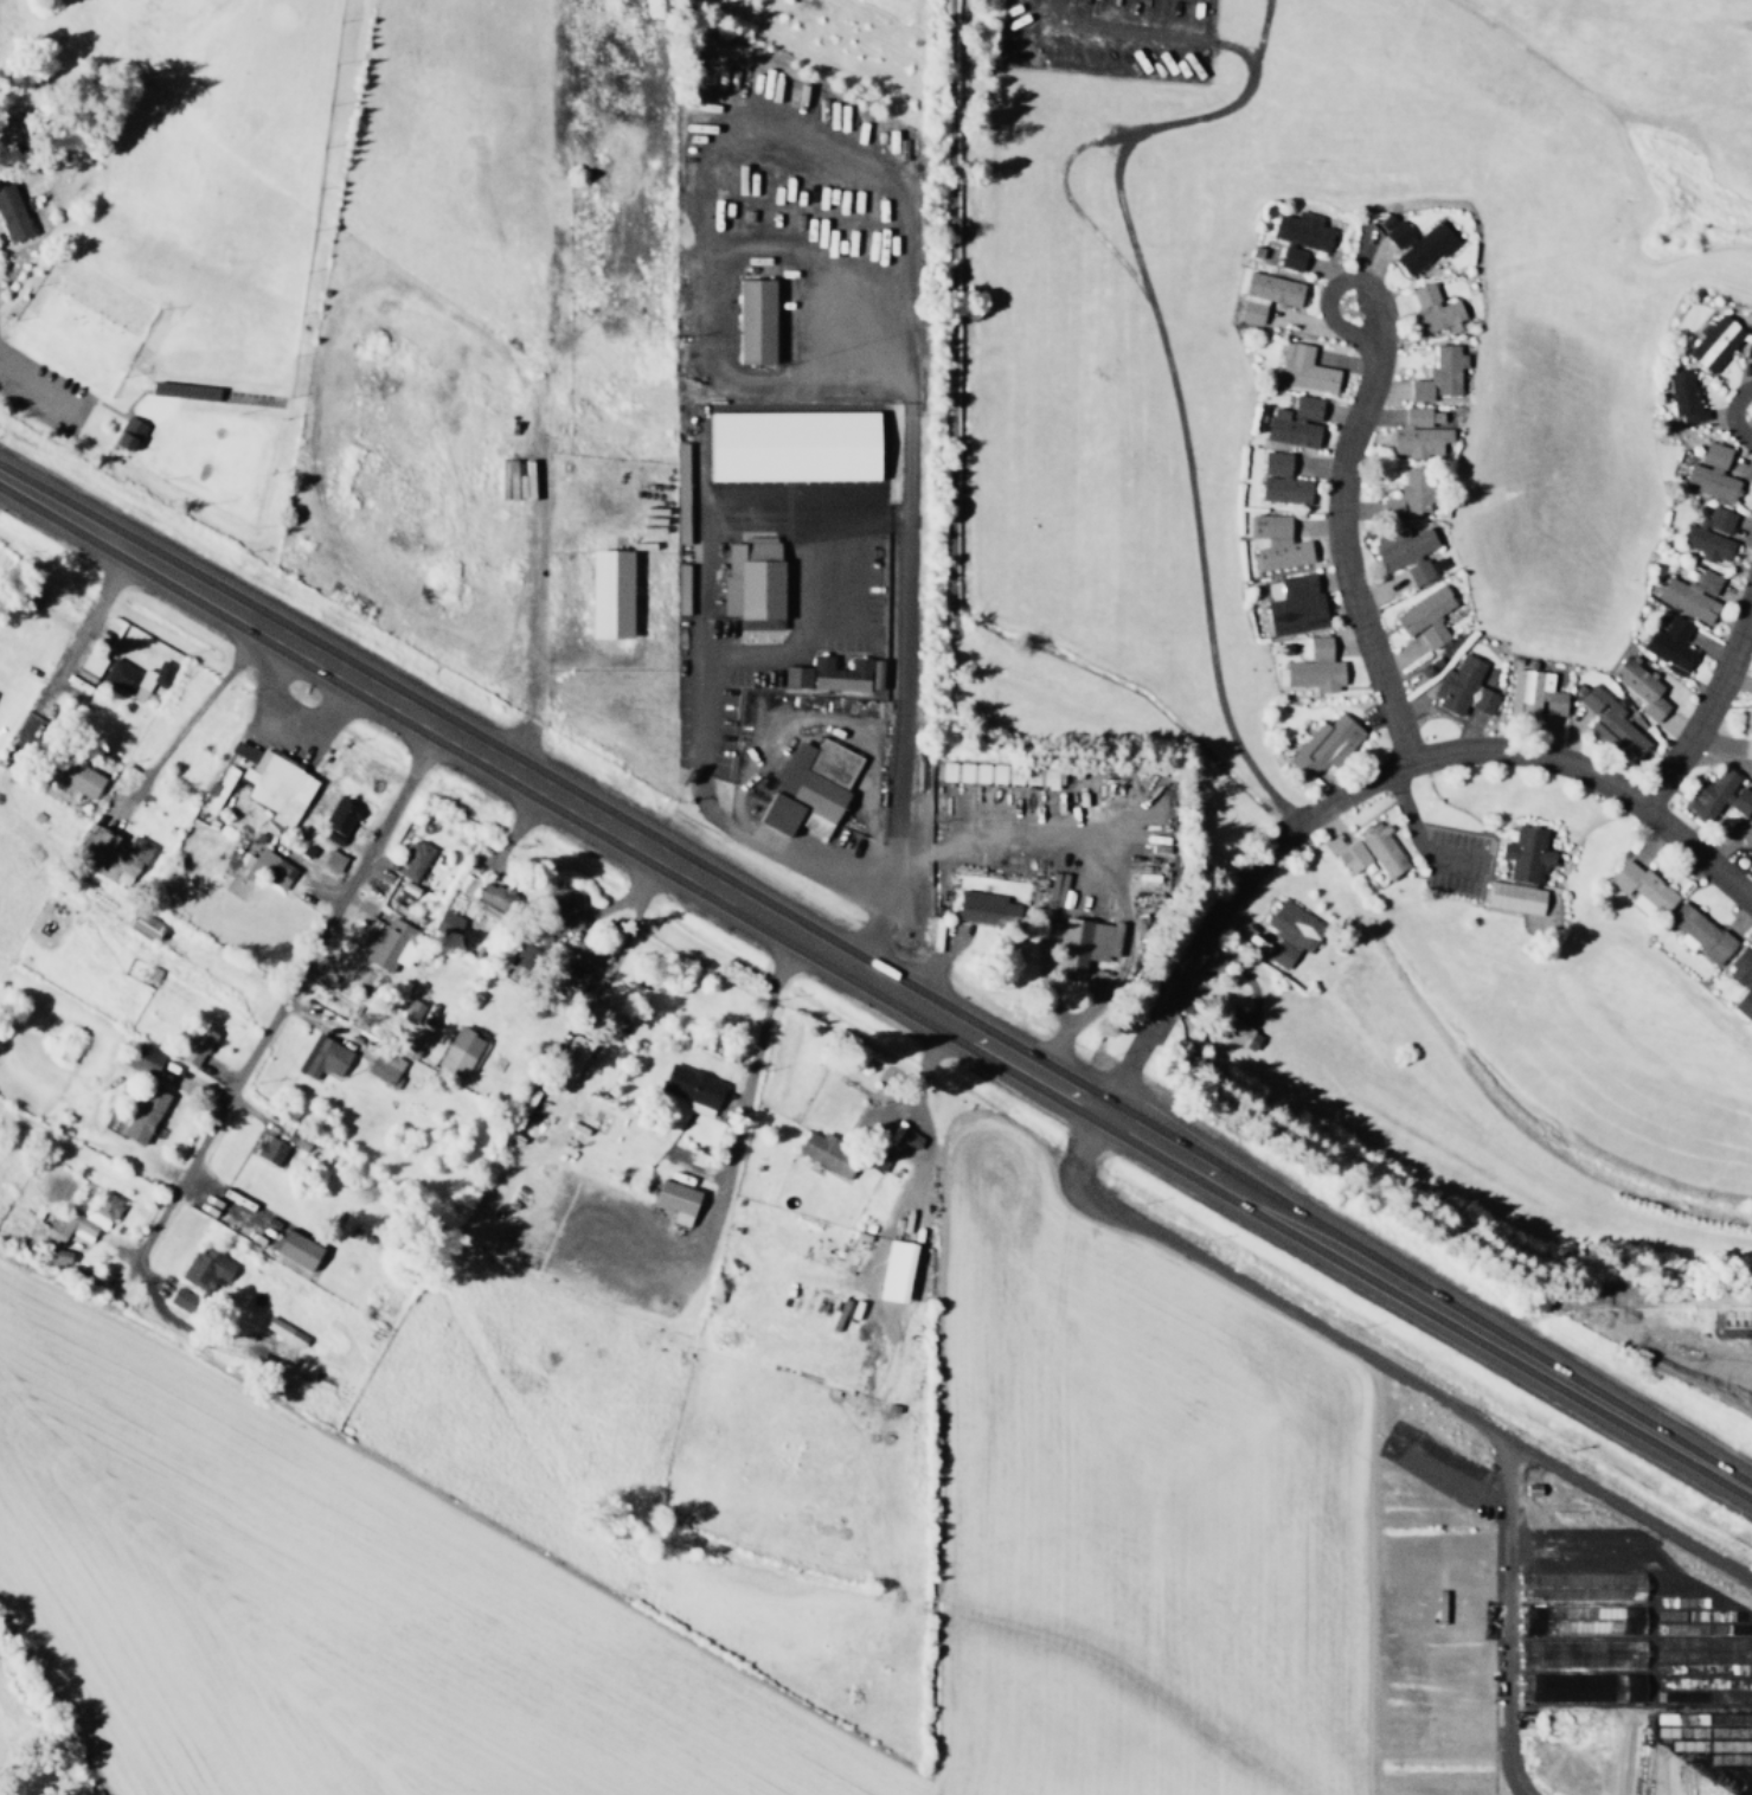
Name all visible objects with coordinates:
building: (8, 128)
building: (11, 214)
building: (1301, 229)
building: (1289, 256)
building: (1265, 295)
building: (1432, 309)
building: (753, 320)
building: (1713, 341)
building: (1748, 344)
building: (1302, 368)
building: (1438, 374)
building: (1682, 395)
road: (1733, 418)
building: (1294, 422)
building: (127, 432)
building: (1418, 434)
building: (792, 445)
road: (1349, 451)
building: (1709, 473)
building: (1279, 480)
building: (1410, 494)
building: (1708, 534)
building: (1276, 541)
building: (1400, 546)
building: (1418, 572)
building: (751, 577)
building: (609, 592)
building: (1689, 595)
building: (1292, 603)
building: (1424, 617)
road: (83, 628)
building: (1669, 645)
building: (89, 666)
building: (1314, 667)
building: (827, 674)
building: (134, 677)
building: (1462, 686)
building: (1638, 686)
building: (1533, 692)
road: (1707, 711)
building: (1609, 720)
road: (185, 723)
building: (1747, 731)
building: (1323, 744)
building: (944, 770)
building: (73, 775)
road: (1371, 782)
building: (272, 783)
building: (809, 787)
building: (1718, 795)
building: (1745, 829)
building: (1371, 853)
building: (1525, 853)
building: (111, 855)
building: (1750, 857)
building: (329, 860)
building: (412, 860)
building: (1638, 886)
building: (490, 895)
building: (1513, 897)
building: (984, 909)
building: (447, 922)
building: (143, 925)
building: (1289, 932)
building: (1698, 932)
building: (1084, 943)
building: (390, 944)
building: (521, 955)
building: (584, 961)
building: (1741, 981)
road: (877, 982)
road: (287, 998)
building: (410, 1011)
building: (1234, 1031)
building: (194, 1045)
building: (458, 1052)
building: (322, 1057)
building: (143, 1058)
building: (571, 1063)
building: (379, 1070)
building: (692, 1089)
building: (142, 1114)
building: (909, 1137)
building: (268, 1149)
building: (826, 1152)
building: (674, 1200)
building: (82, 1218)
building: (296, 1249)
building: (53, 1256)
building: (204, 1268)
building: (894, 1271)
road: (1250, 1290)
building: (181, 1300)
building: (282, 1331)
road: (1626, 1512)
road: (1498, 1617)
building: (1577, 1618)
building: (1580, 1653)
building: (1578, 1687)

